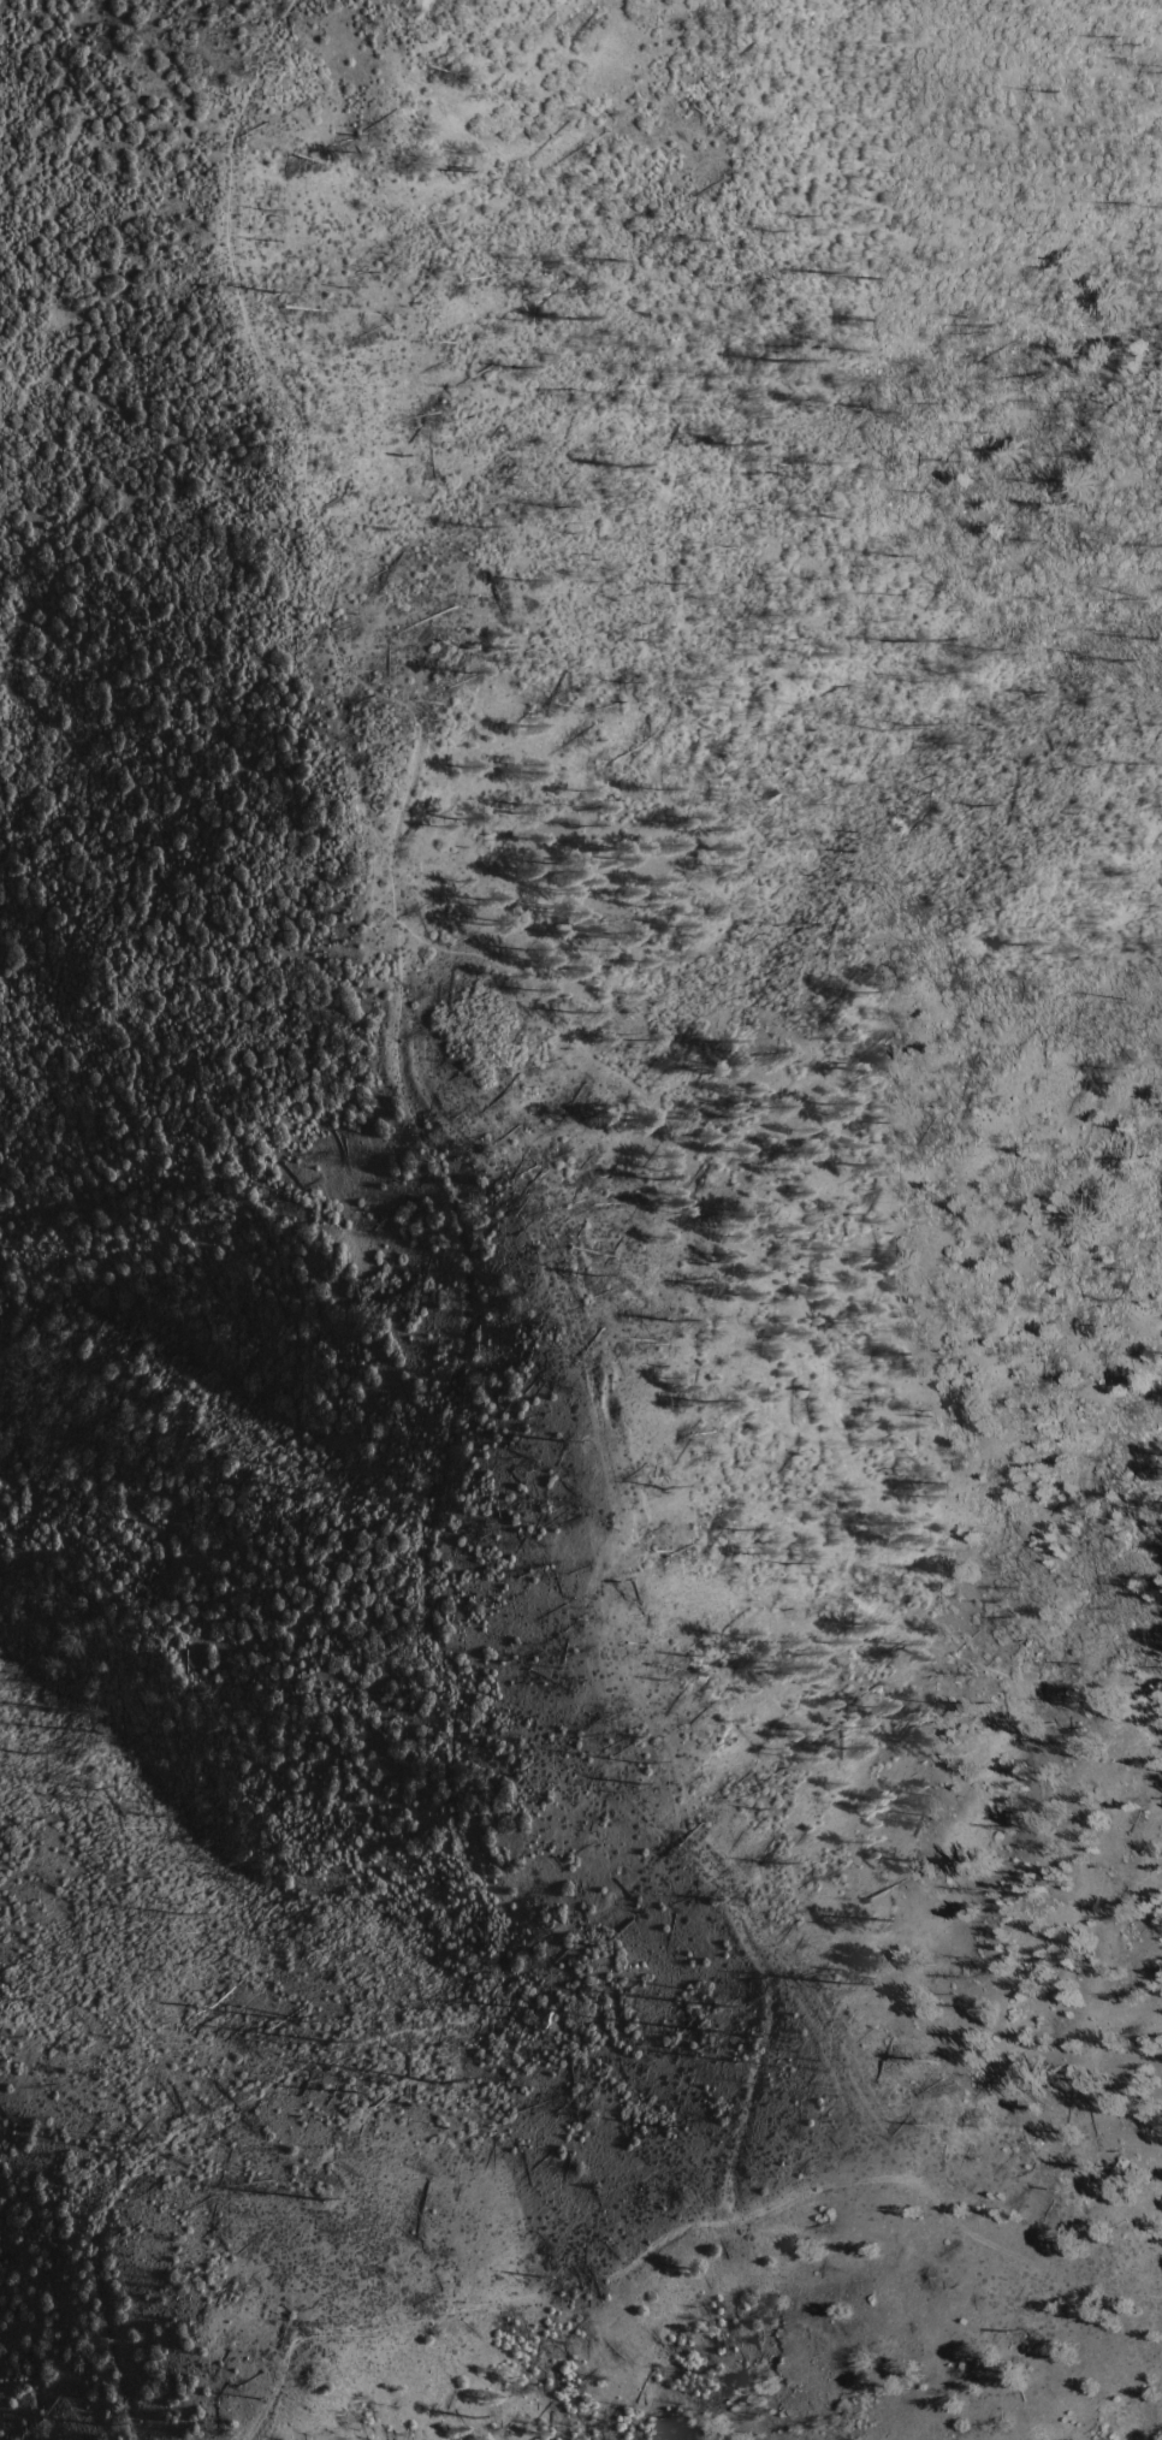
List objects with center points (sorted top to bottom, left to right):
road: (510, 965)
road: (603, 1610)
road: (453, 1782)
road: (686, 2233)

